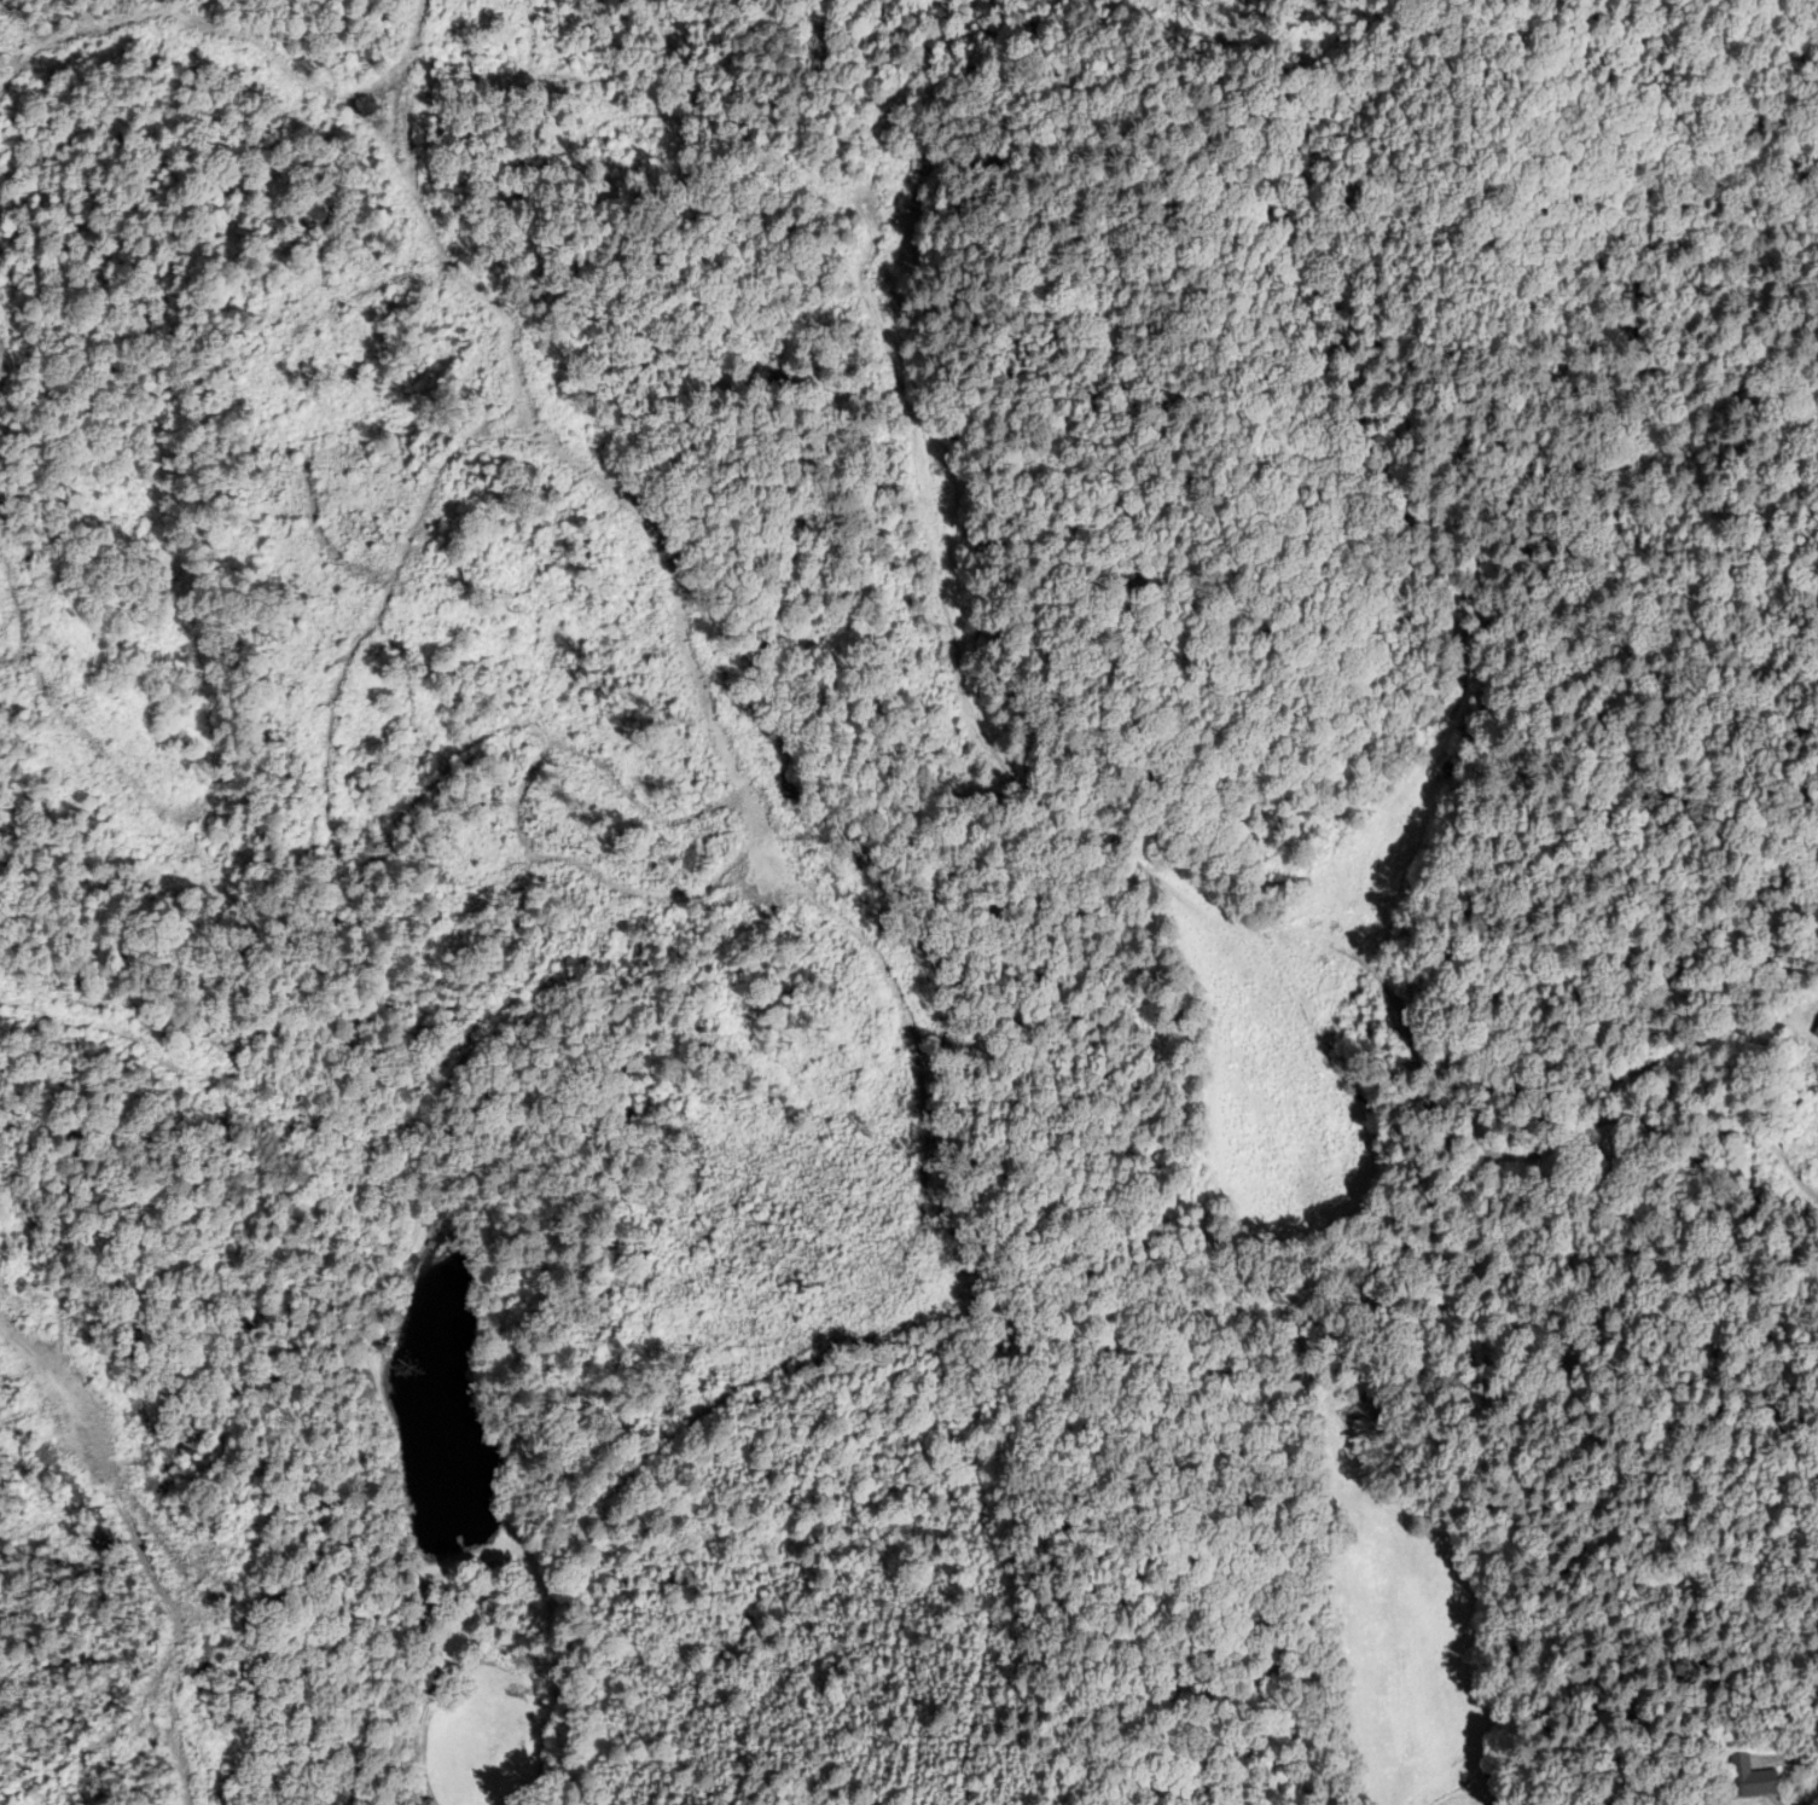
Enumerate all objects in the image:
building: (1753, 1781)

